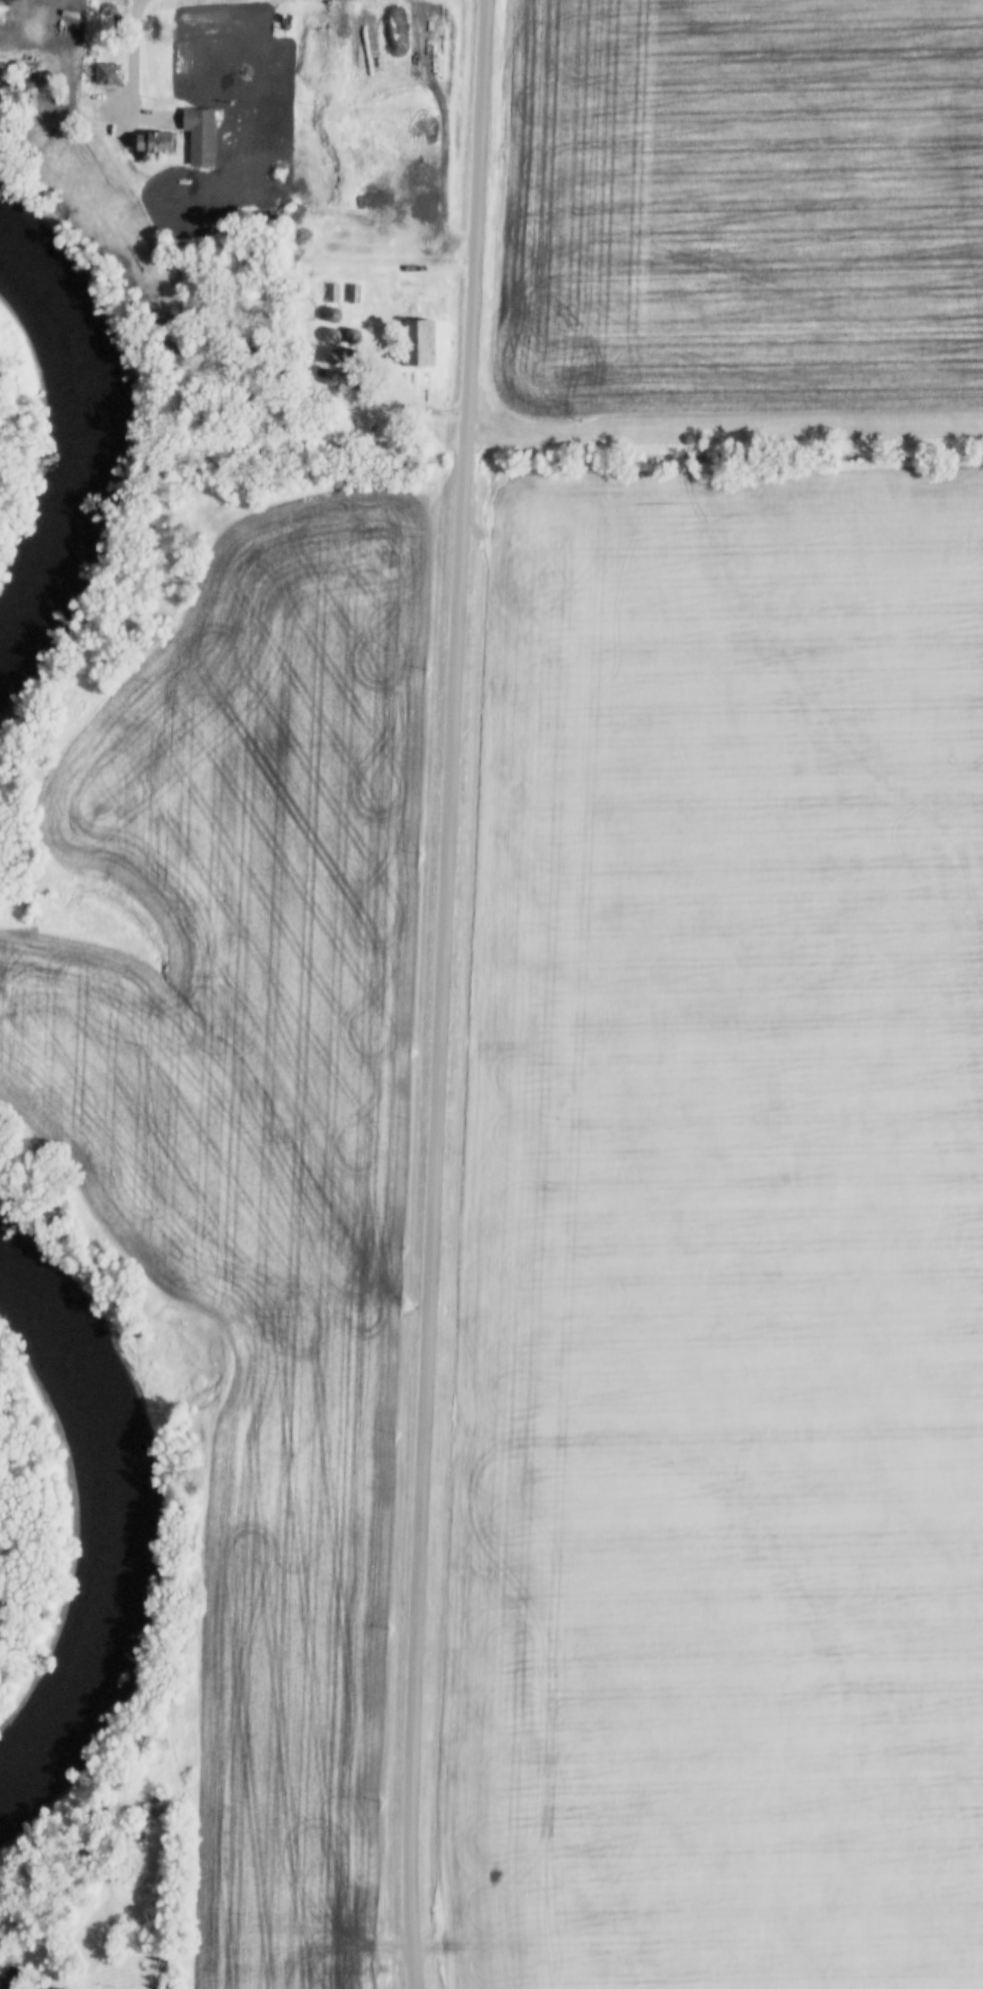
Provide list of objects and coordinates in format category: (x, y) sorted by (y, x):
road: (133, 53)
building: (107, 72)
building: (199, 135)
building: (154, 141)
crop: (742, 208)
building: (419, 341)
road: (725, 428)
river: (63, 459)
crop: (728, 948)
road: (443, 994)
crop: (262, 1152)
river: (92, 1537)
crop: (714, 1702)

